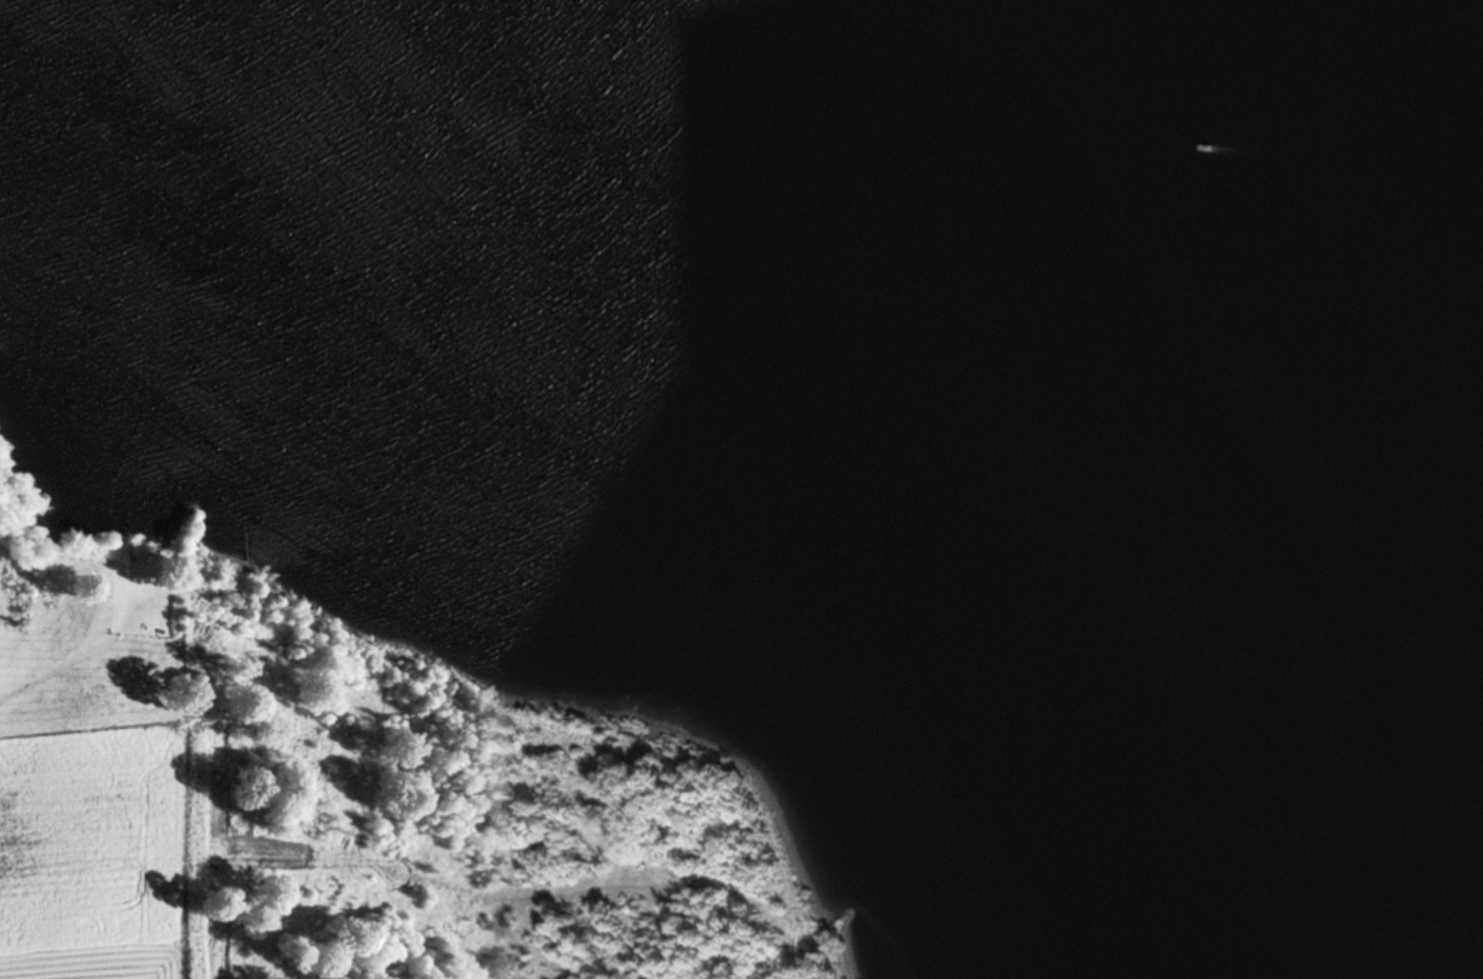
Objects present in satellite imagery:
river: (1069, 230)
crop: (94, 850)

